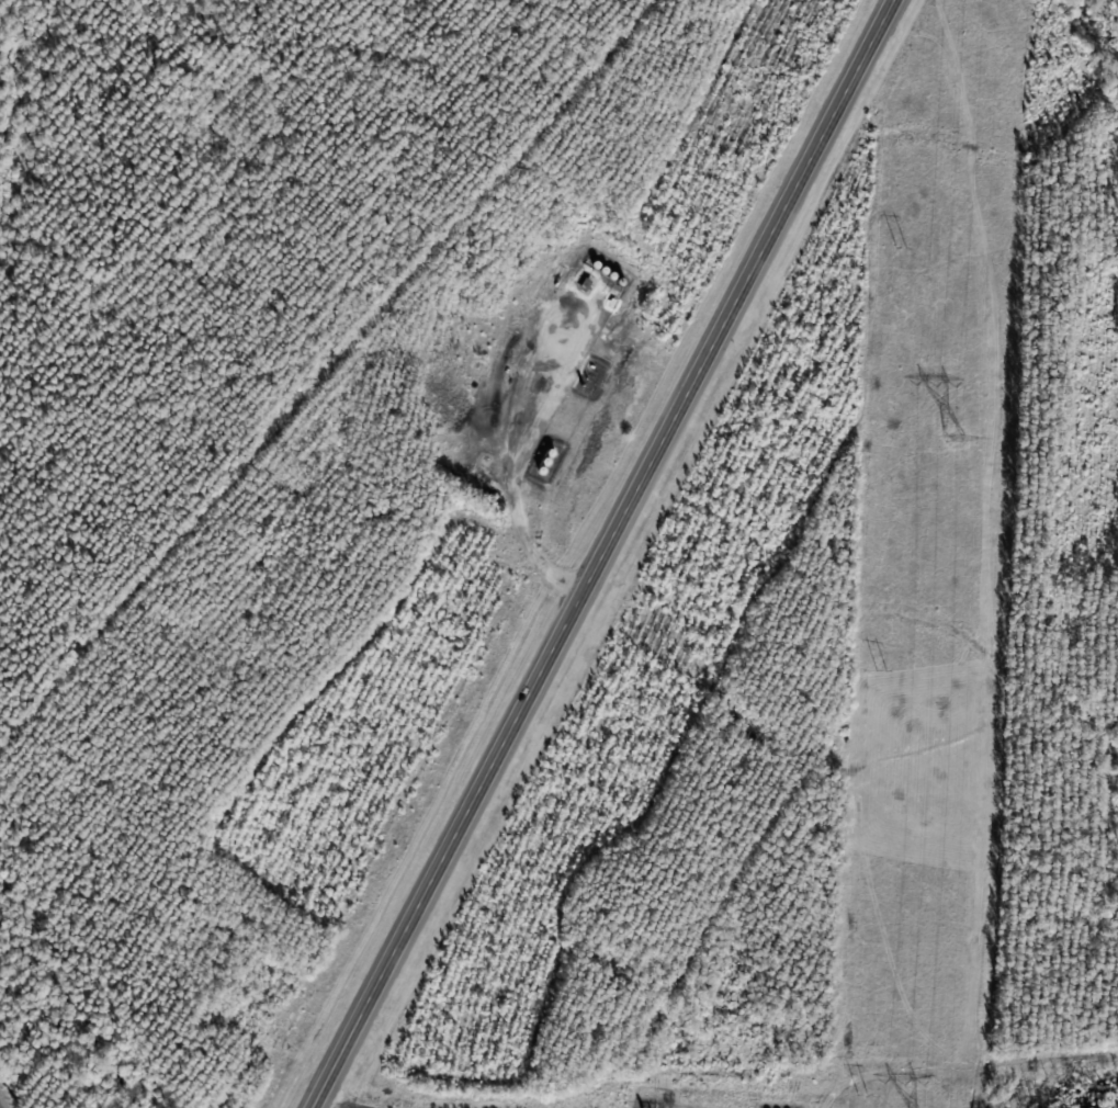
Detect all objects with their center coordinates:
power tower: (944, 437)
road: (613, 555)

